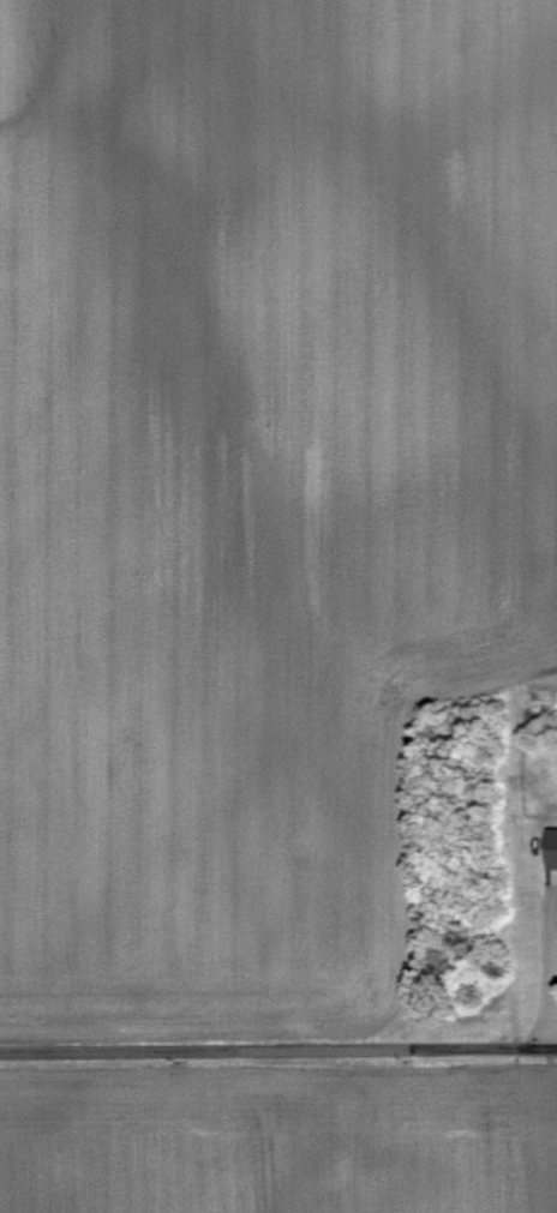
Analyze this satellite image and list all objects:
building: (555, 847)
building: (553, 876)
road: (552, 992)
road: (277, 1046)

